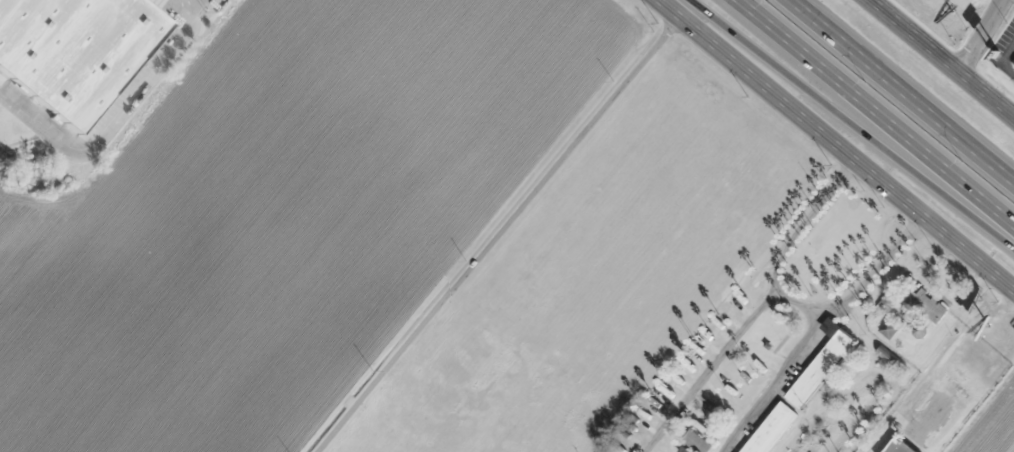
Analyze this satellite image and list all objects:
road: (980, 37)
building: (73, 48)
road: (938, 59)
road: (155, 75)
road: (907, 86)
road: (873, 116)
road: (46, 124)
road: (842, 125)
road: (833, 144)
road: (495, 234)
building: (926, 304)
road: (785, 306)
road: (712, 377)
road: (780, 385)
building: (801, 387)
building: (696, 441)
building: (898, 446)

